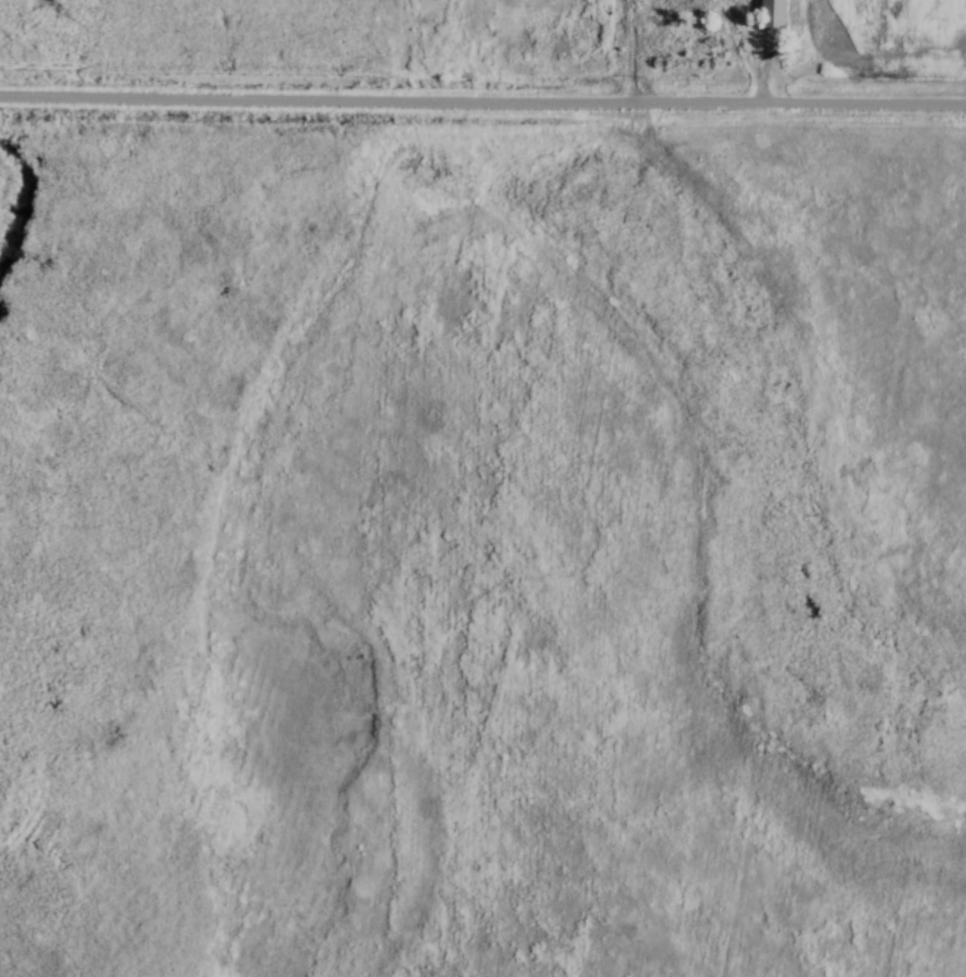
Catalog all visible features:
building: (777, 13)
road: (482, 96)

